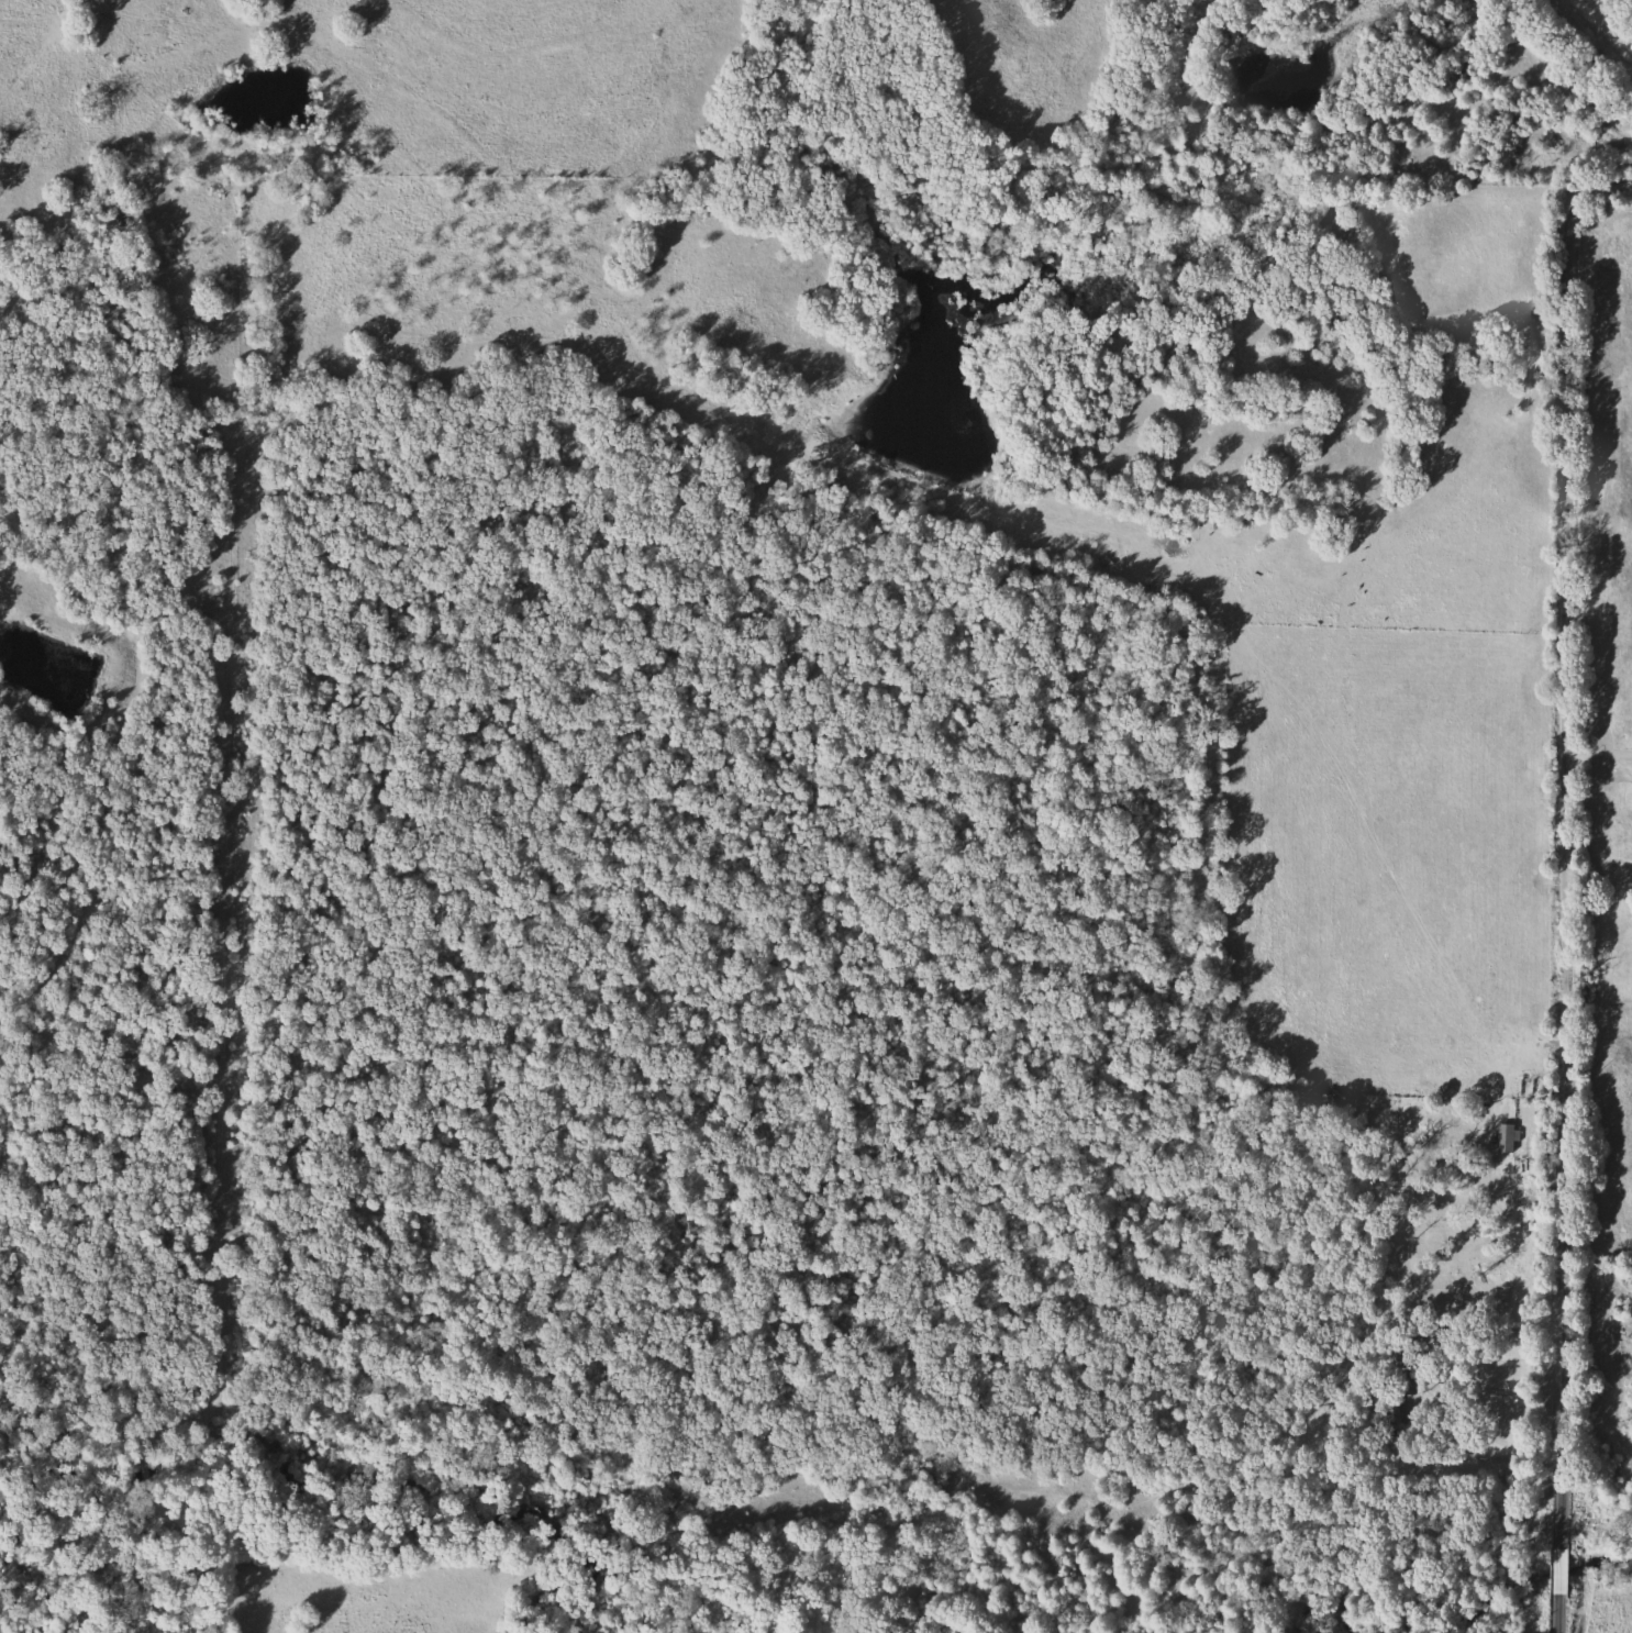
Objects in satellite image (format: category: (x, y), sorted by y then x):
road: (1601, 753)
road: (1628, 758)
road: (1568, 885)
building: (1499, 1137)
road: (1425, 1437)

